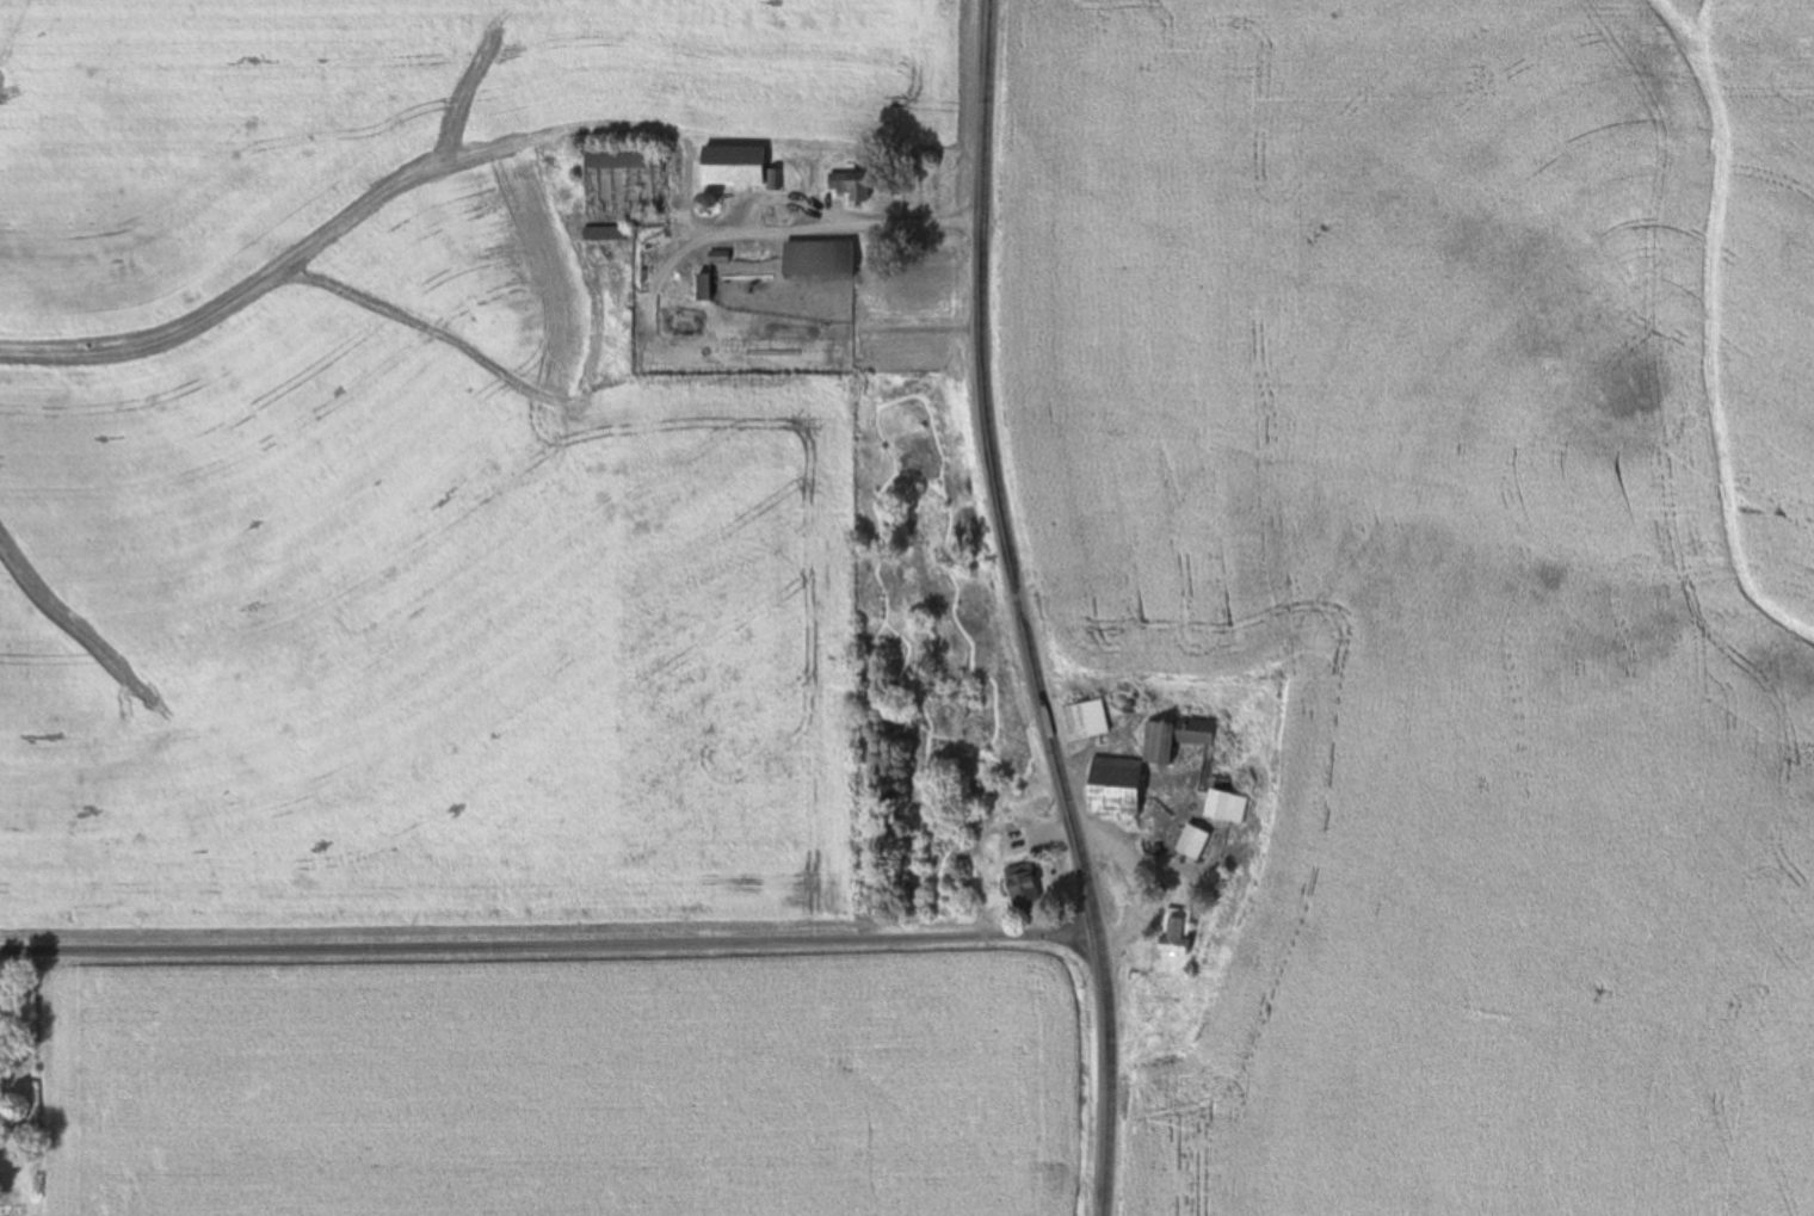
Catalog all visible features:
building: (624, 160)
building: (853, 185)
road: (807, 230)
road: (722, 239)
building: (705, 286)
road: (1023, 611)
building: (1086, 720)
building: (1141, 765)
building: (1226, 800)
building: (1042, 837)
building: (1192, 841)
building: (1023, 887)
building: (1176, 932)
road: (549, 949)

